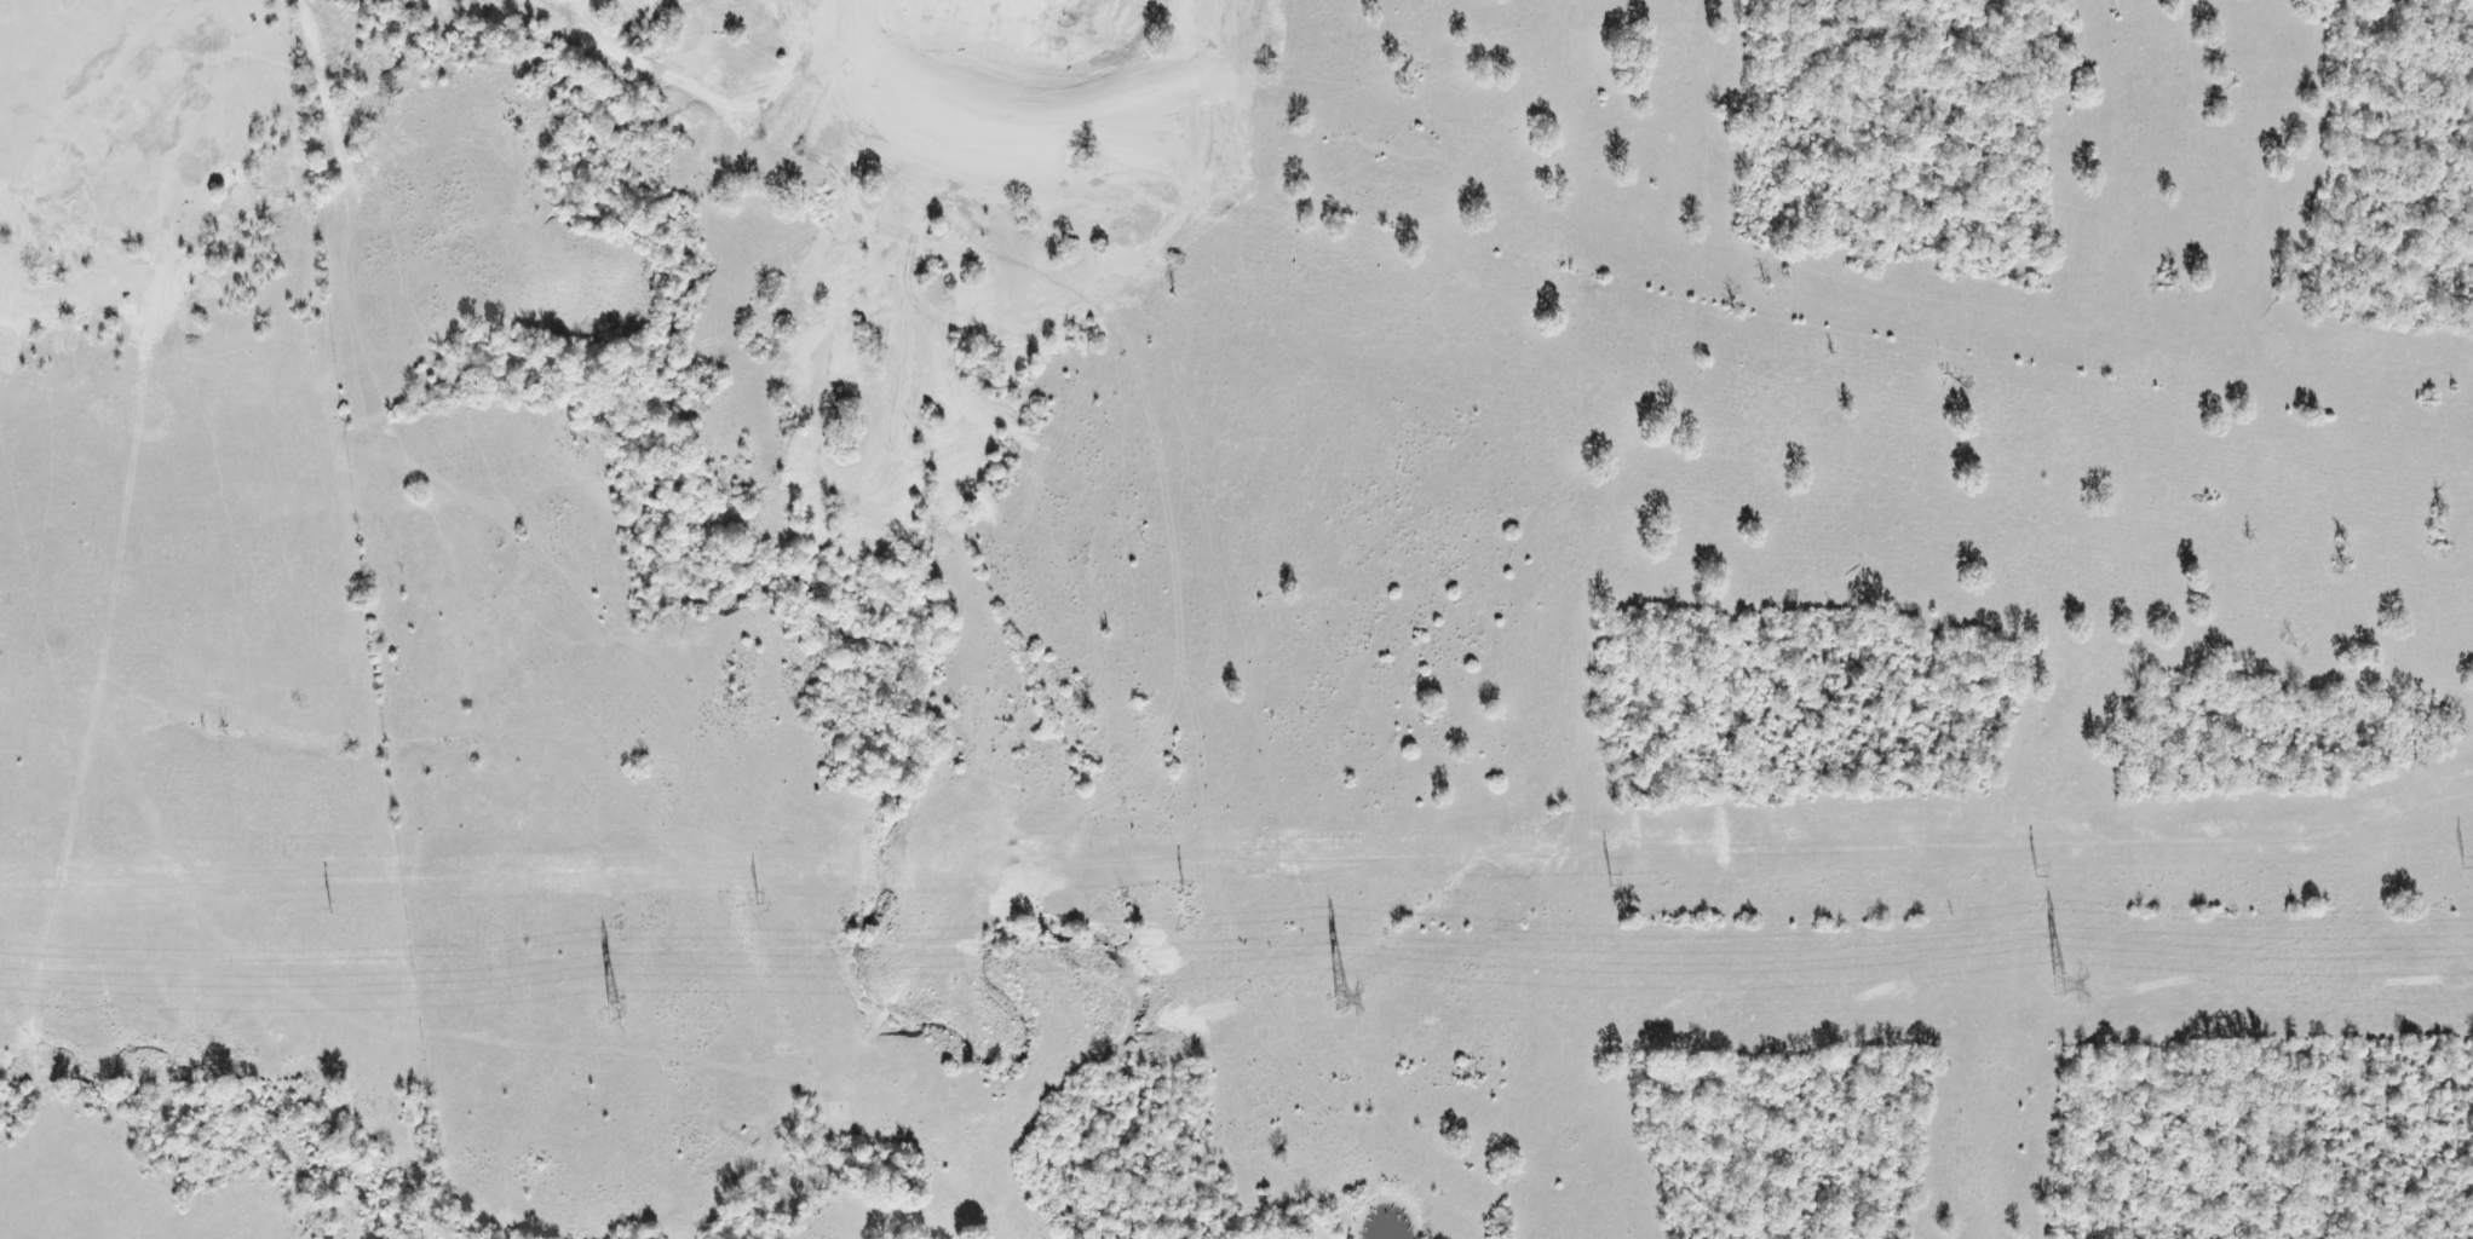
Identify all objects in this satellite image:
power tower: (2046, 872)
power tower: (1621, 881)
power tower: (1190, 891)
power tower: (764, 899)
power tower: (335, 910)
power tower: (2060, 985)
power tower: (1344, 999)
power tower: (615, 1014)

